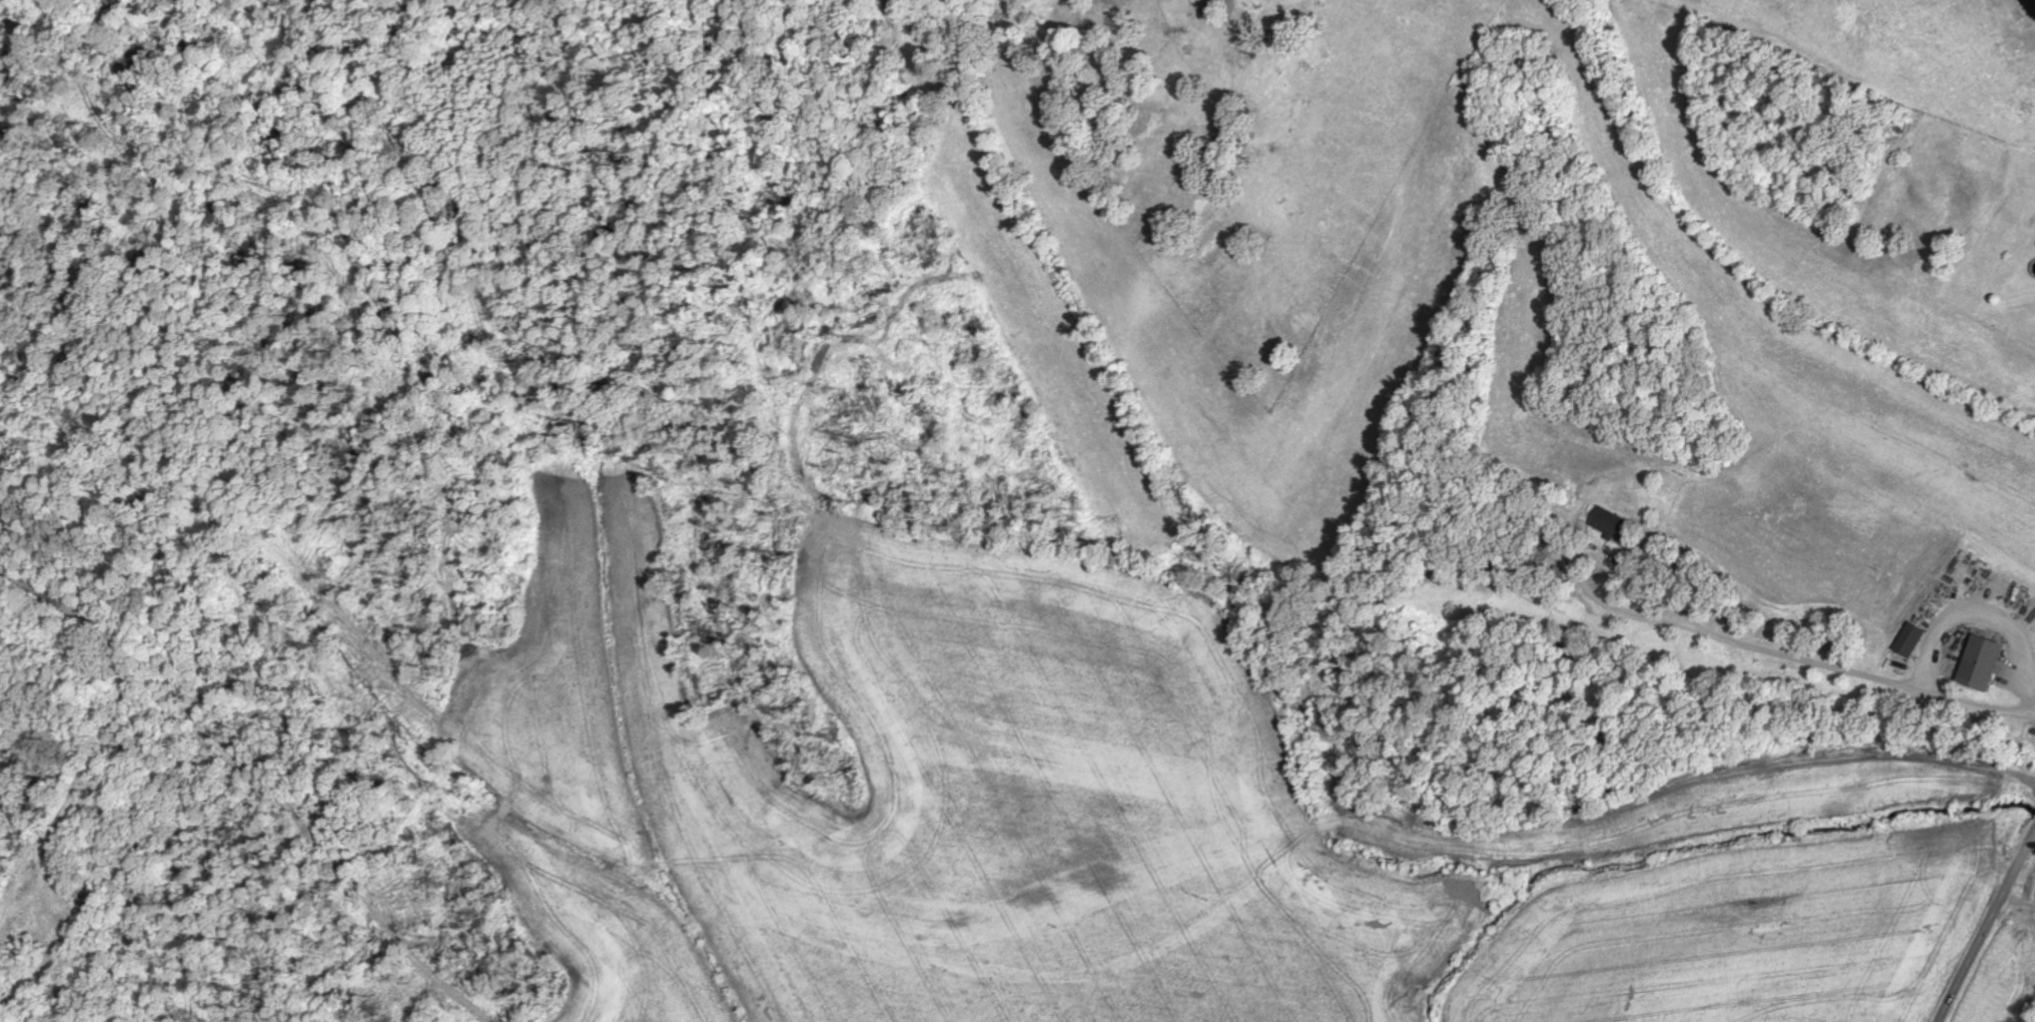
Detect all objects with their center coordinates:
building: (1613, 525)
road: (1578, 560)
building: (1914, 641)
building: (1986, 663)
road: (1859, 673)
road: (1985, 927)

